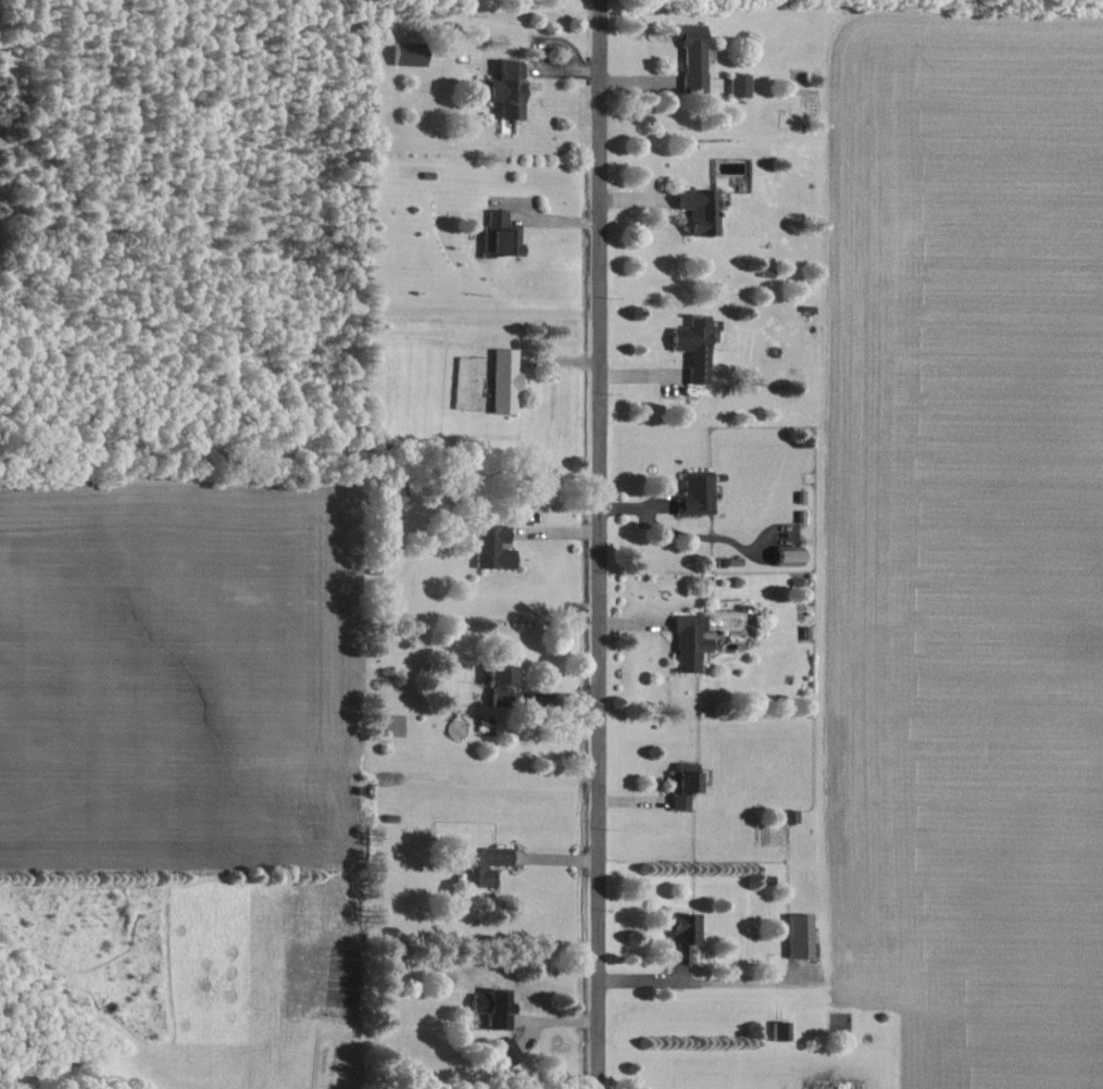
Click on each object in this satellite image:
building: (406, 53)
building: (692, 59)
building: (737, 85)
building: (505, 90)
building: (698, 212)
building: (498, 237)
building: (692, 347)
building: (503, 380)
building: (693, 493)
building: (392, 496)
road: (598, 544)
building: (491, 547)
building: (787, 554)
building: (688, 642)
building: (499, 683)
building: (681, 787)
building: (481, 864)
building: (680, 936)
building: (798, 936)
road: (700, 982)
building: (491, 1007)
building: (779, 1030)

